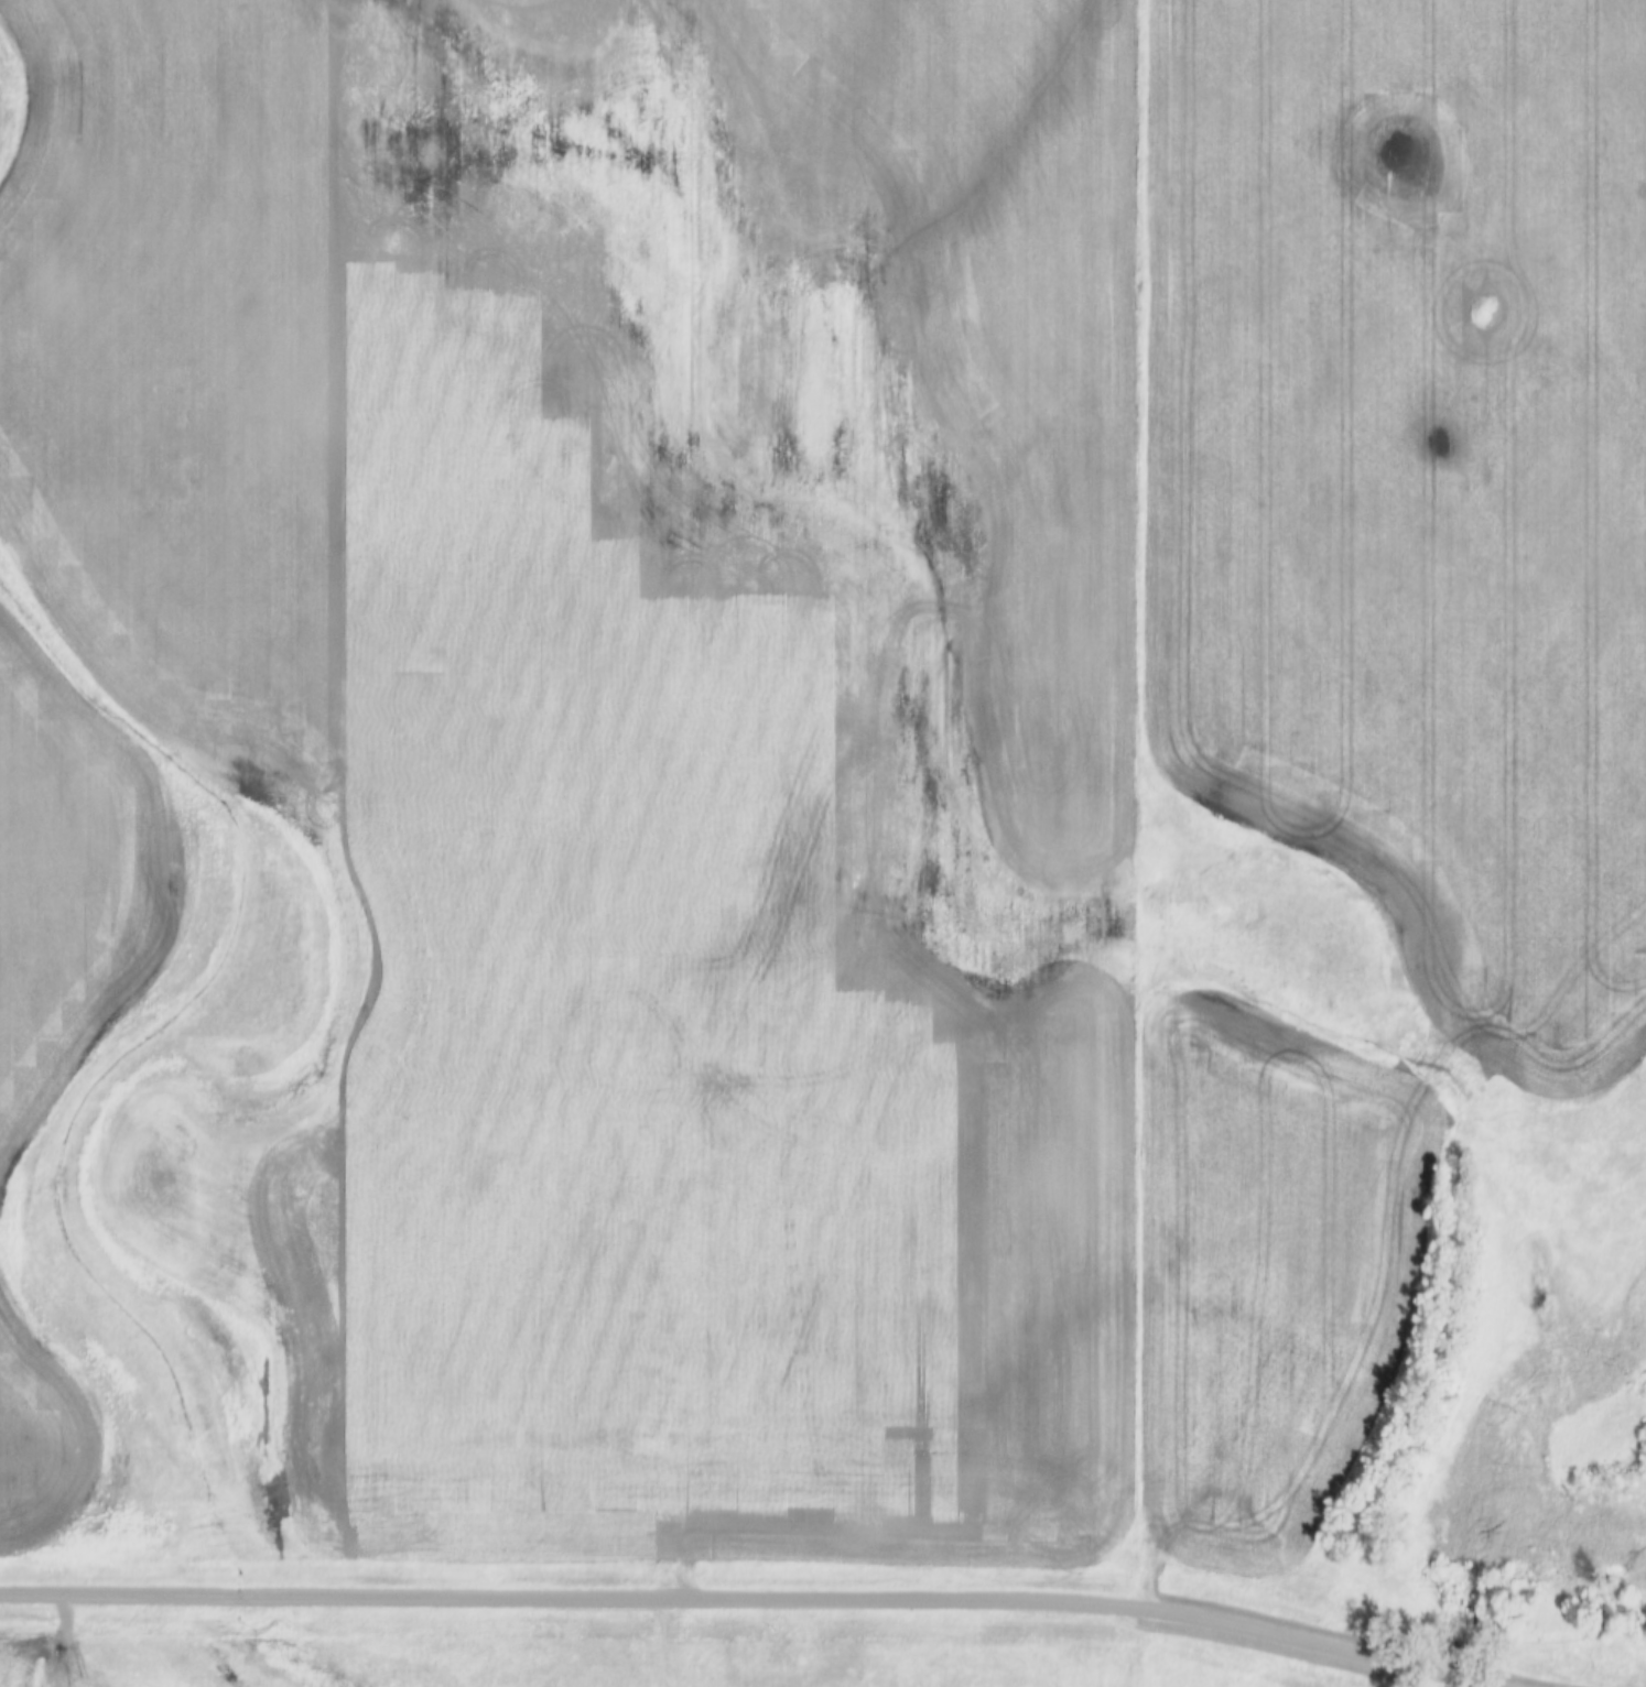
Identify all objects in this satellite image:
road: (749, 1600)

